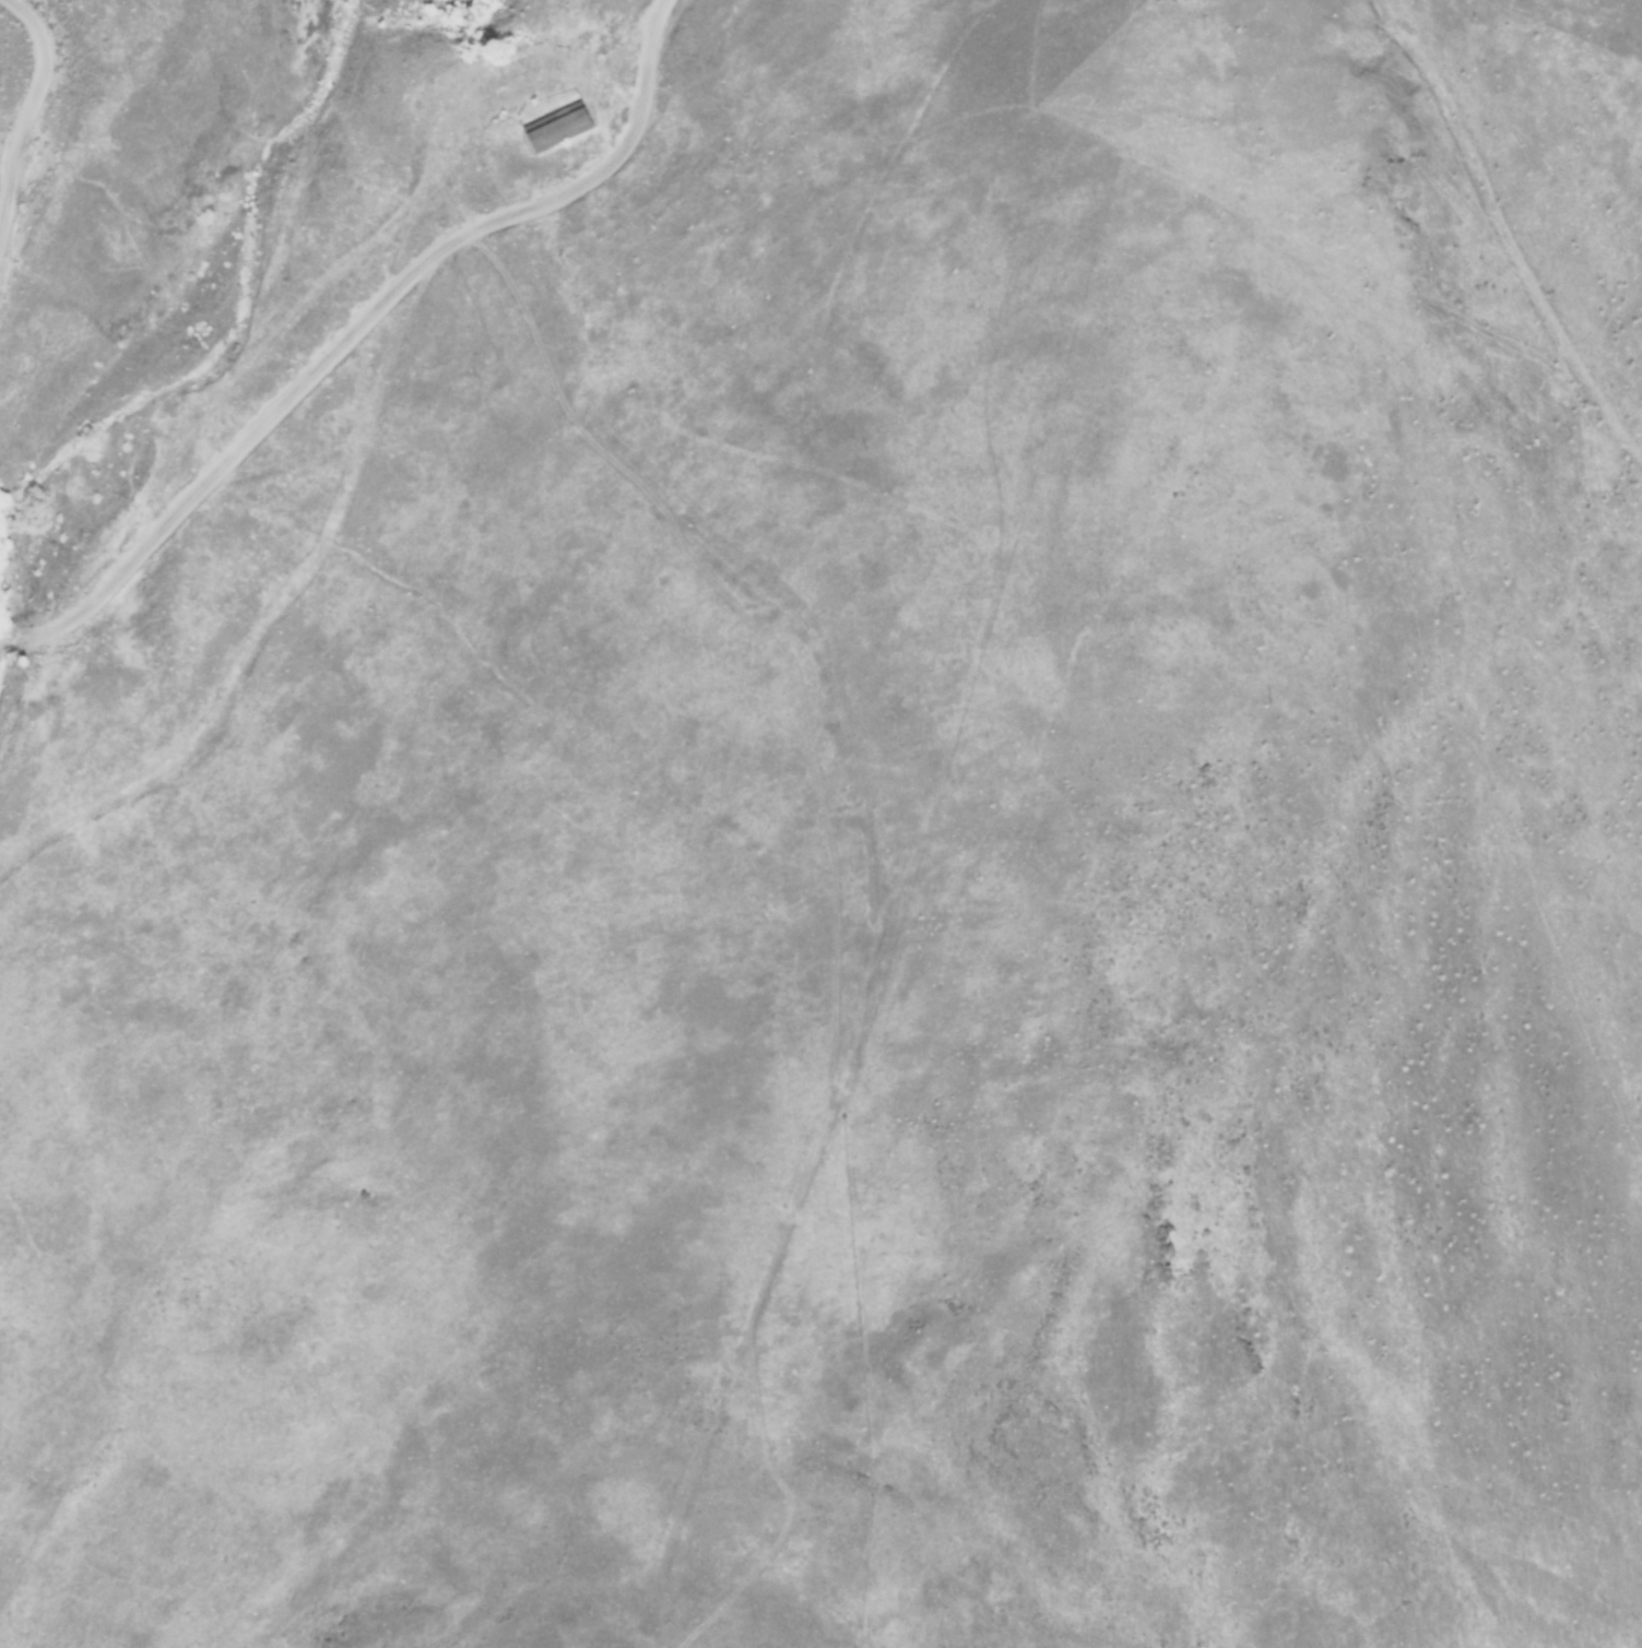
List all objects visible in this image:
road: (33, 107)
road: (359, 327)

